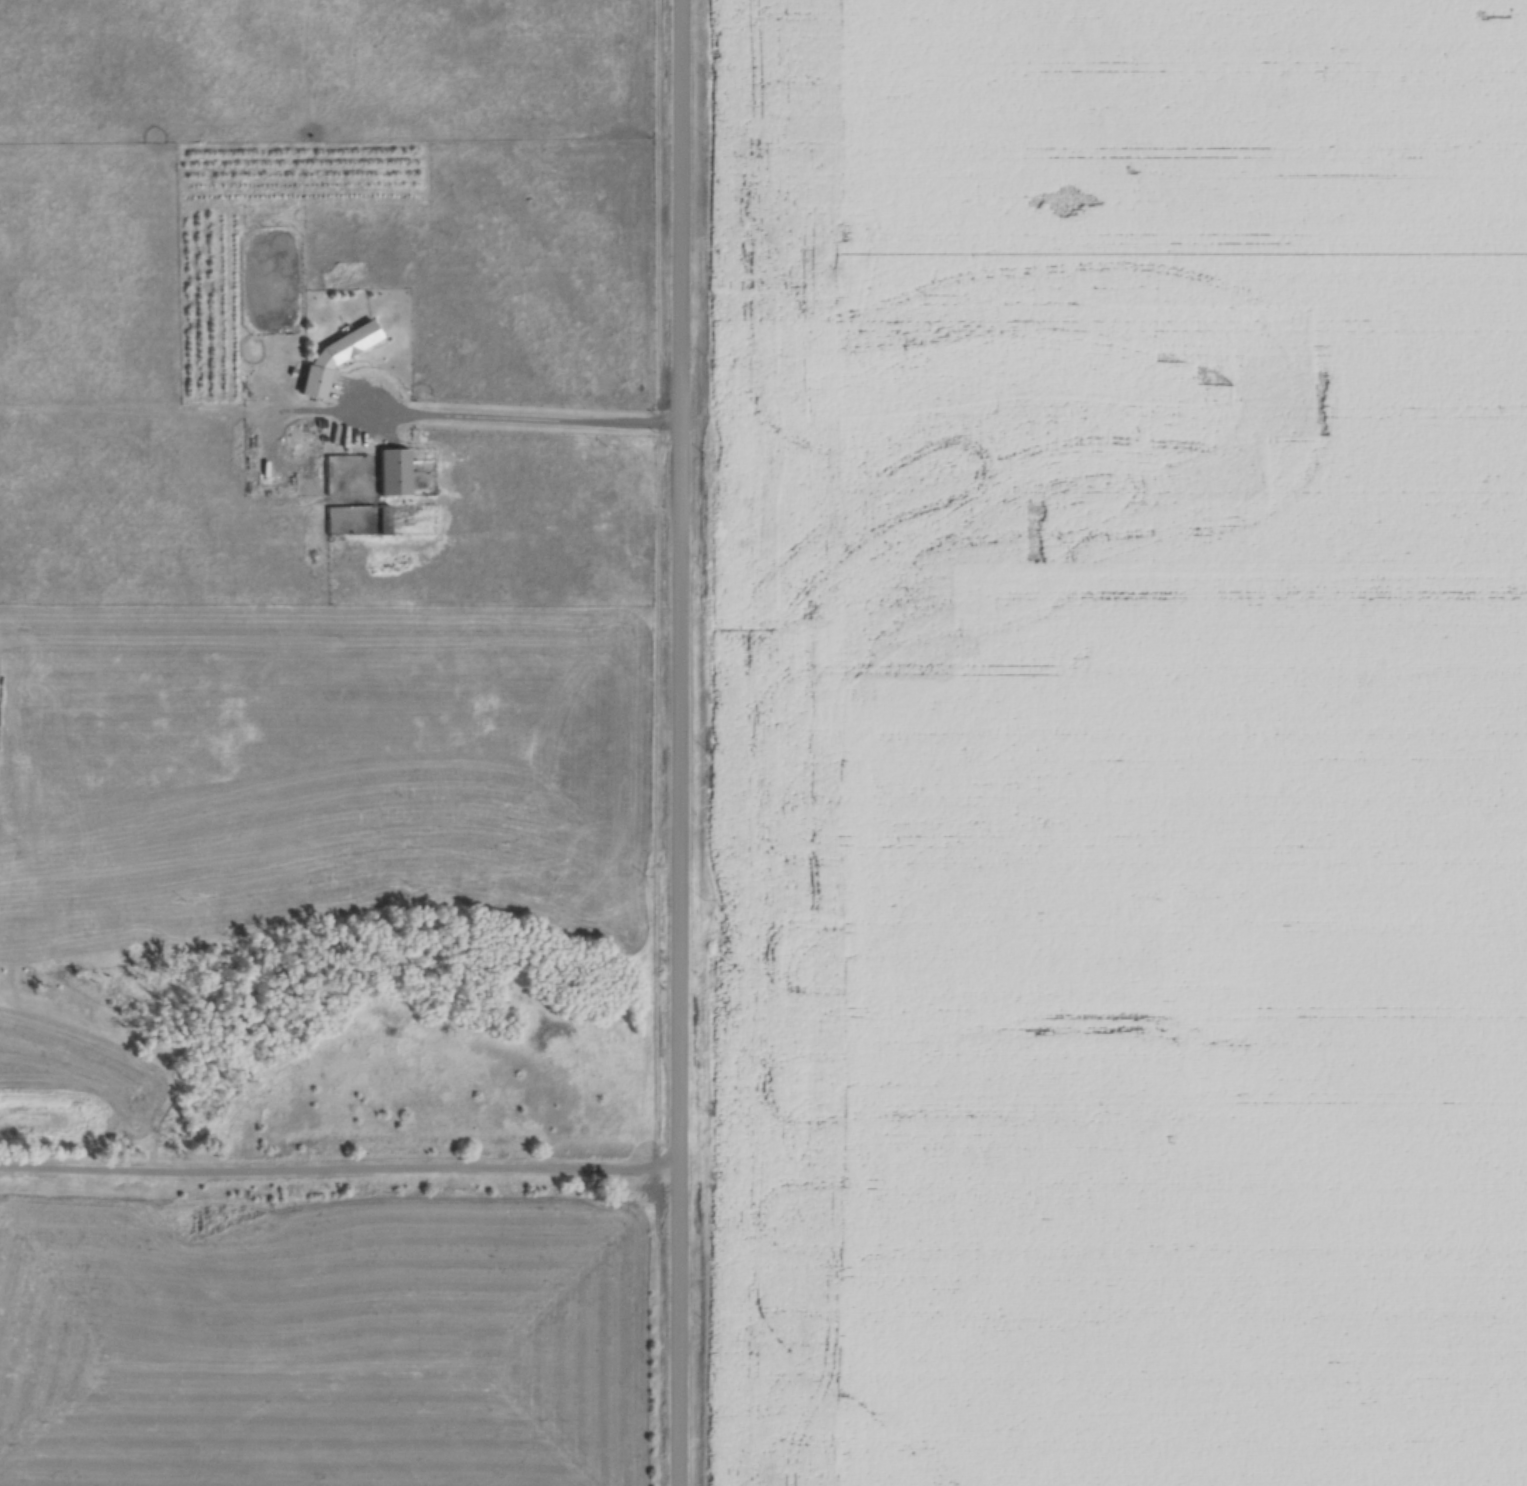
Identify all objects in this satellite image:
building: (316, 299)
building: (338, 356)
building: (396, 471)
building: (386, 520)
road: (679, 743)
road: (339, 1190)

